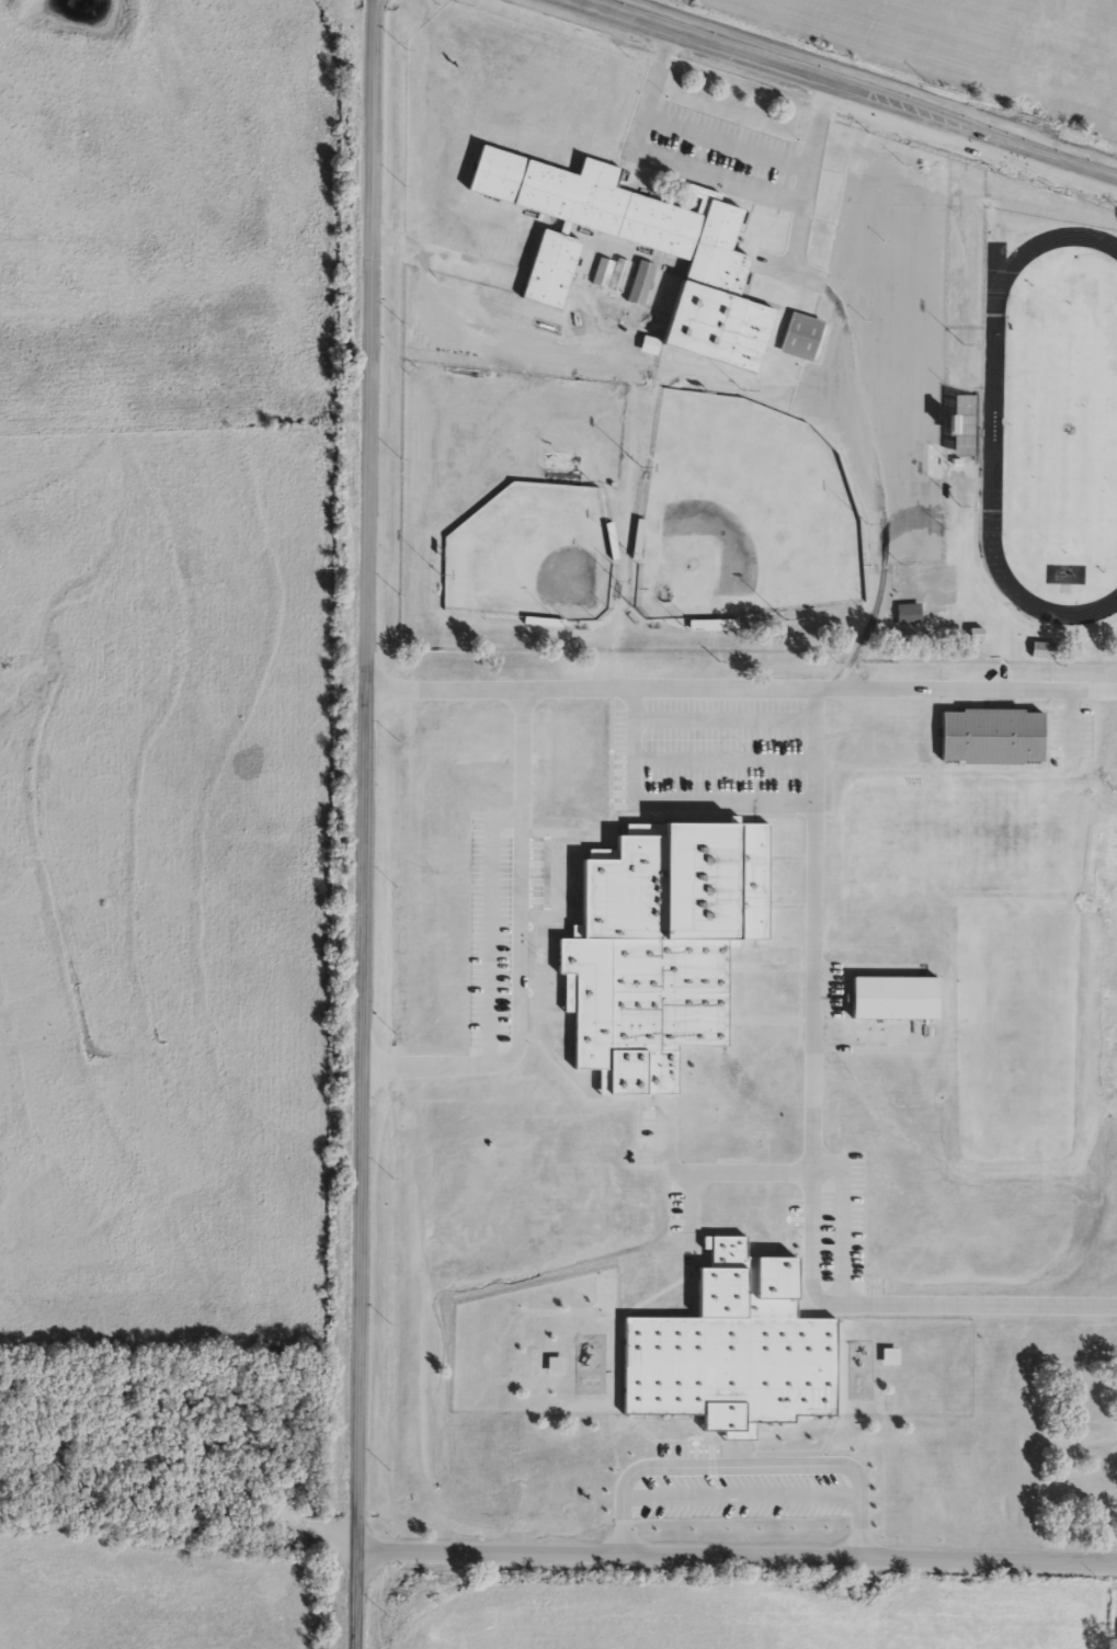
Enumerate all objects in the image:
road: (847, 87)
road: (714, 175)
building: (608, 273)
building: (710, 278)
building: (638, 283)
road: (467, 284)
building: (798, 337)
park: (1062, 428)
park: (741, 514)
park: (538, 553)
building: (905, 613)
building: (1041, 649)
road: (741, 686)
building: (989, 735)
road: (364, 823)
building: (658, 945)
road: (516, 946)
building: (891, 997)
road: (810, 1148)
building: (732, 1347)
building: (888, 1355)
building: (552, 1364)
road: (190, 1462)
road: (741, 1500)
road: (738, 1554)

